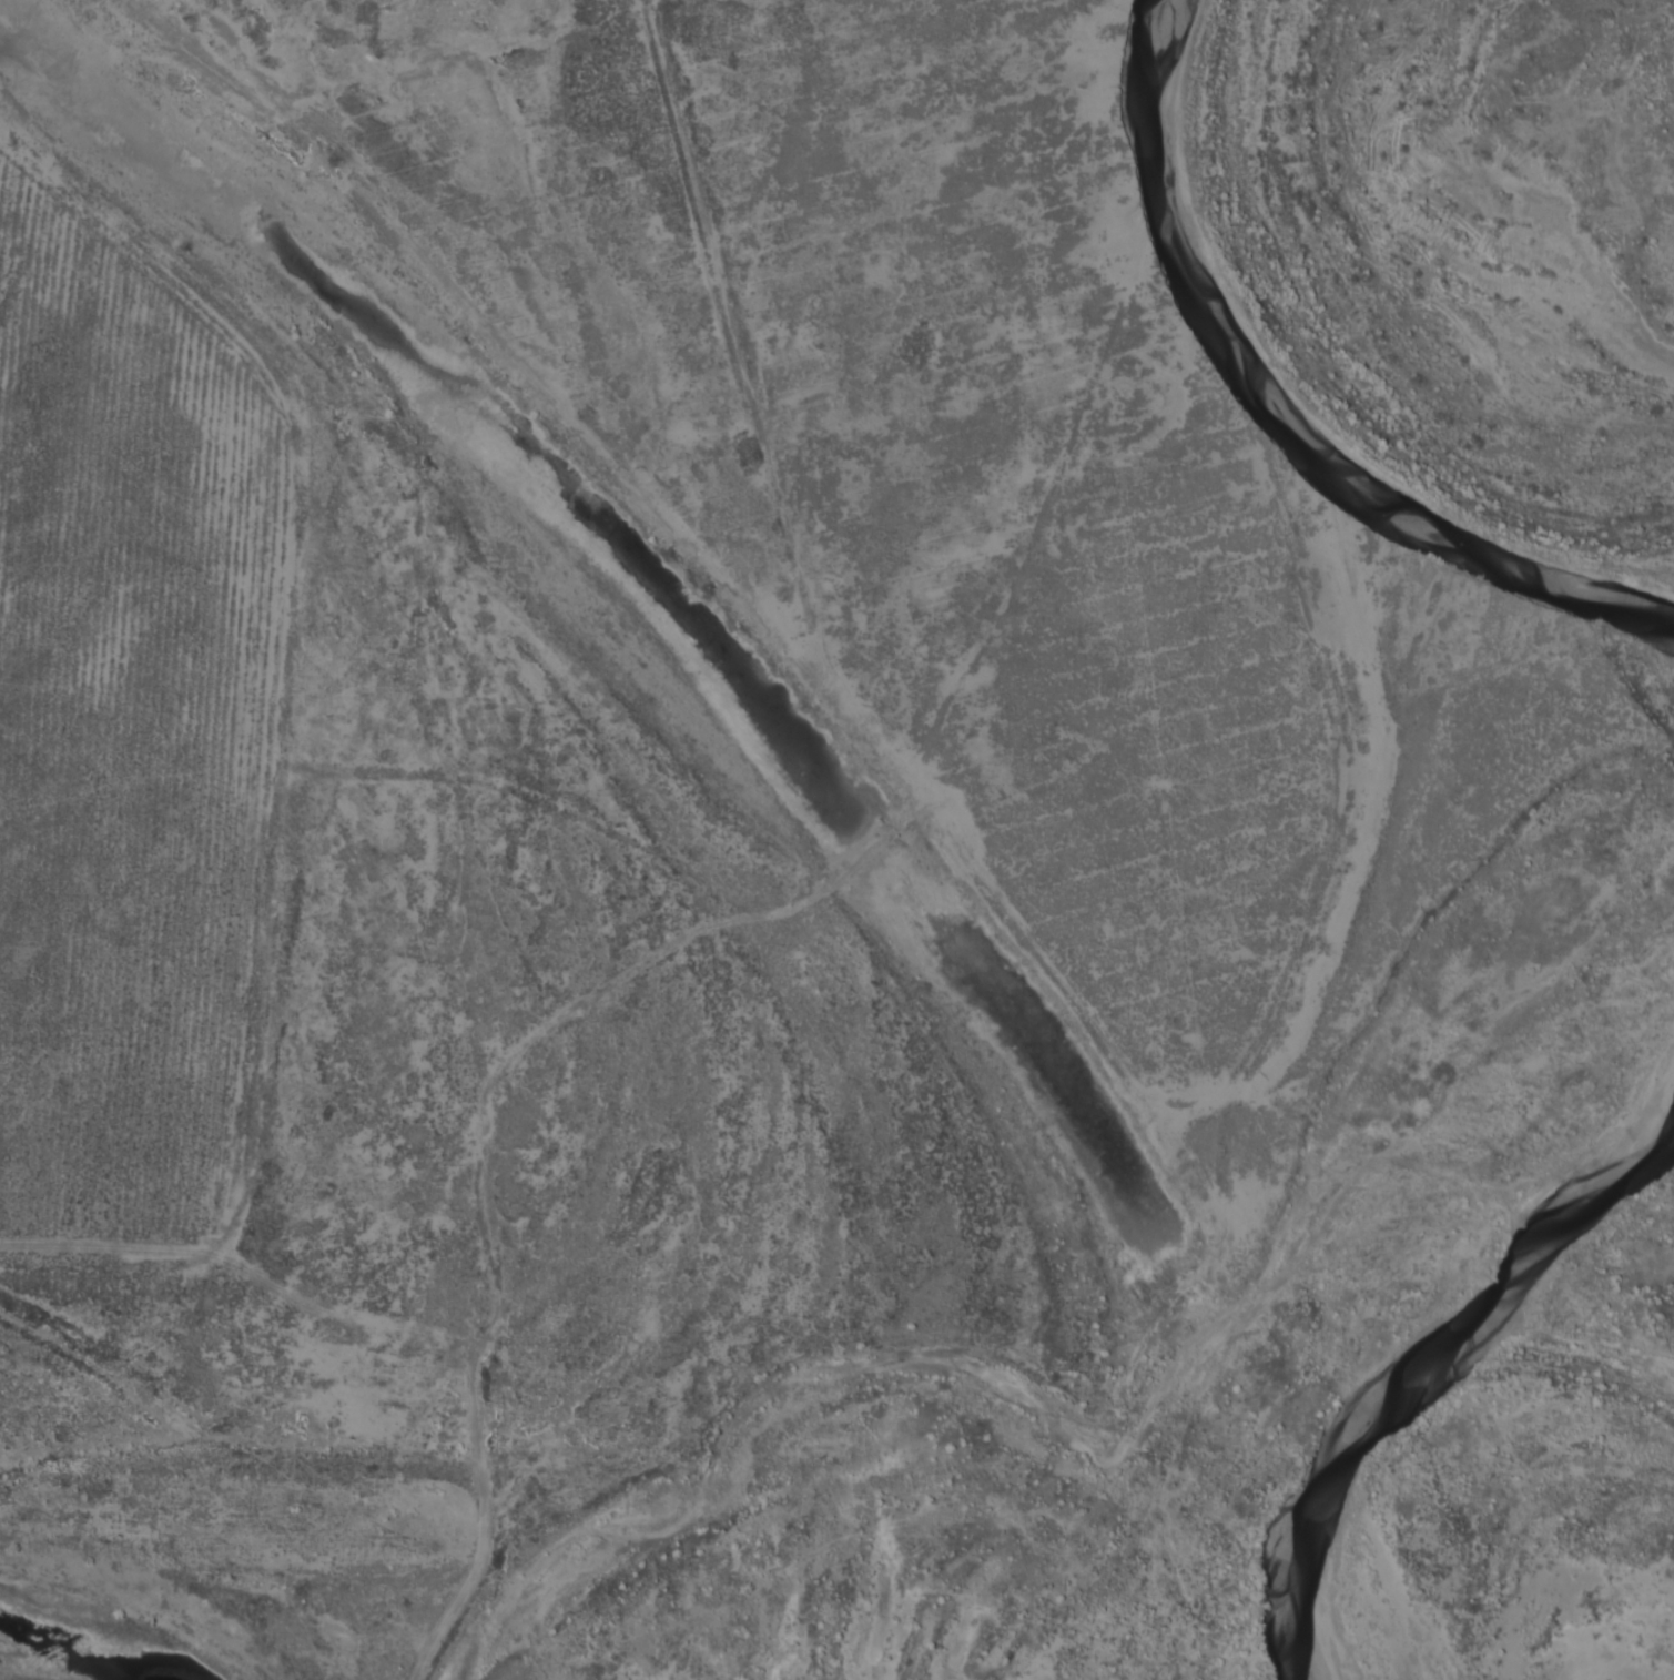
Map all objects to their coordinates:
river: (1300, 398)
river: (1389, 1388)

